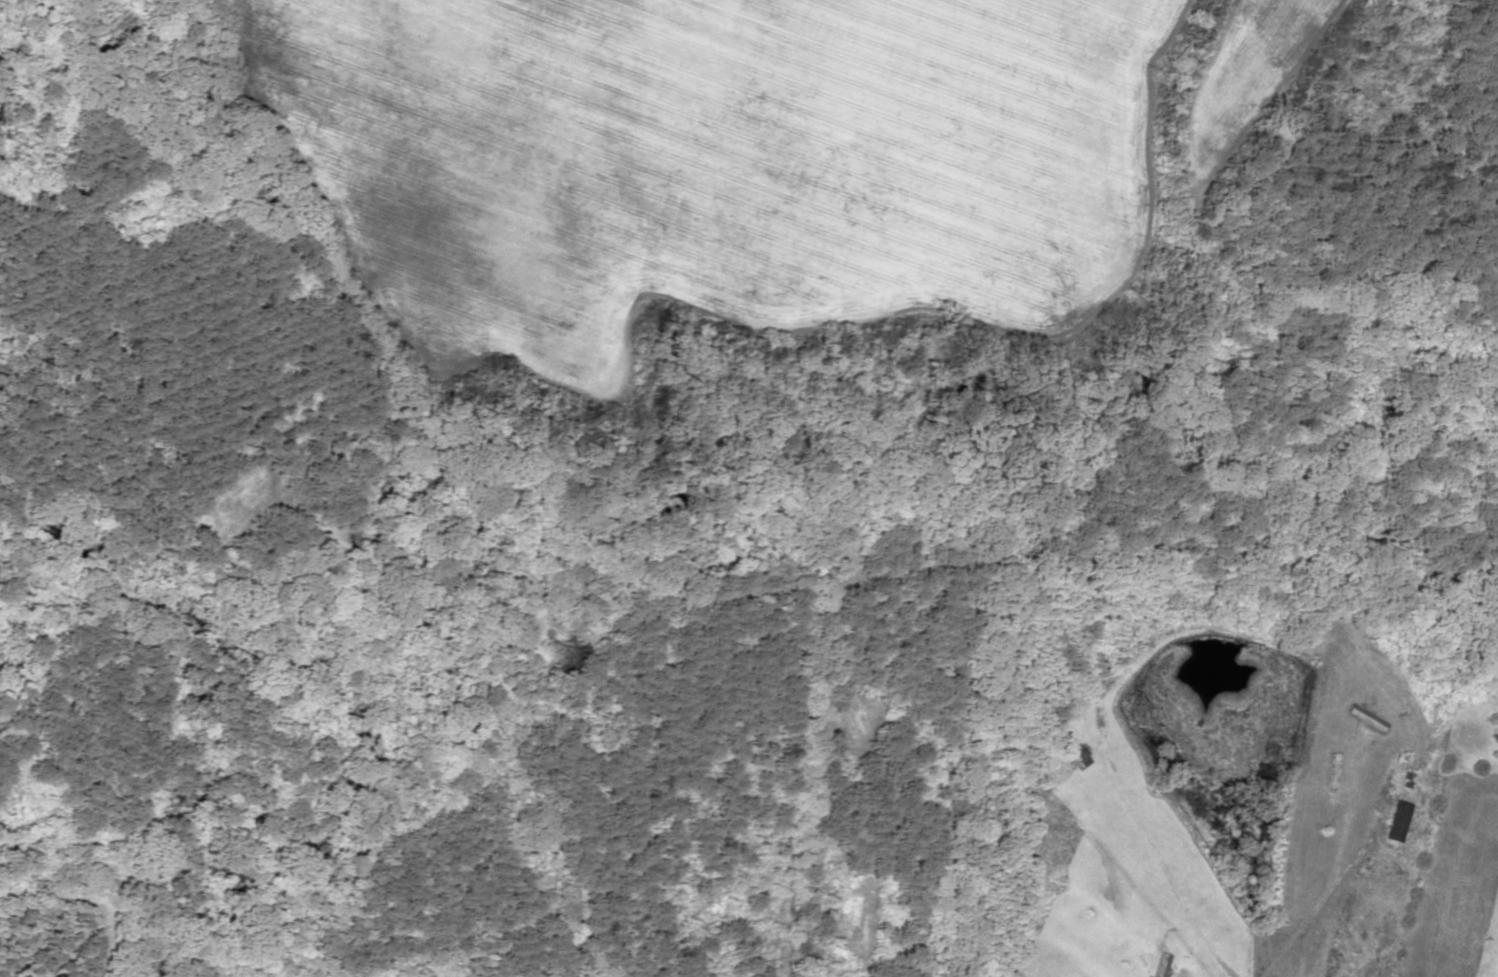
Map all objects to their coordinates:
building: (1080, 756)
building: (1398, 822)
building: (1162, 966)

